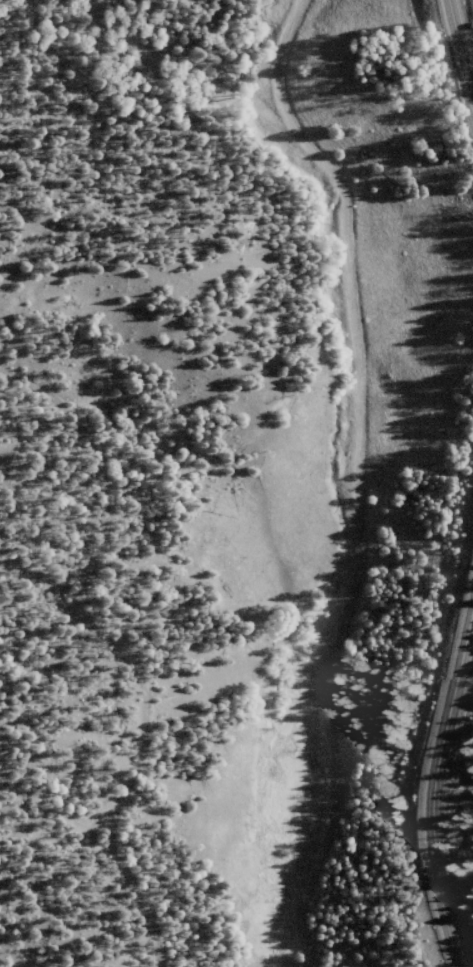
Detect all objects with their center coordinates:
road: (457, 45)
road: (12, 402)
road: (382, 480)
road: (434, 781)

